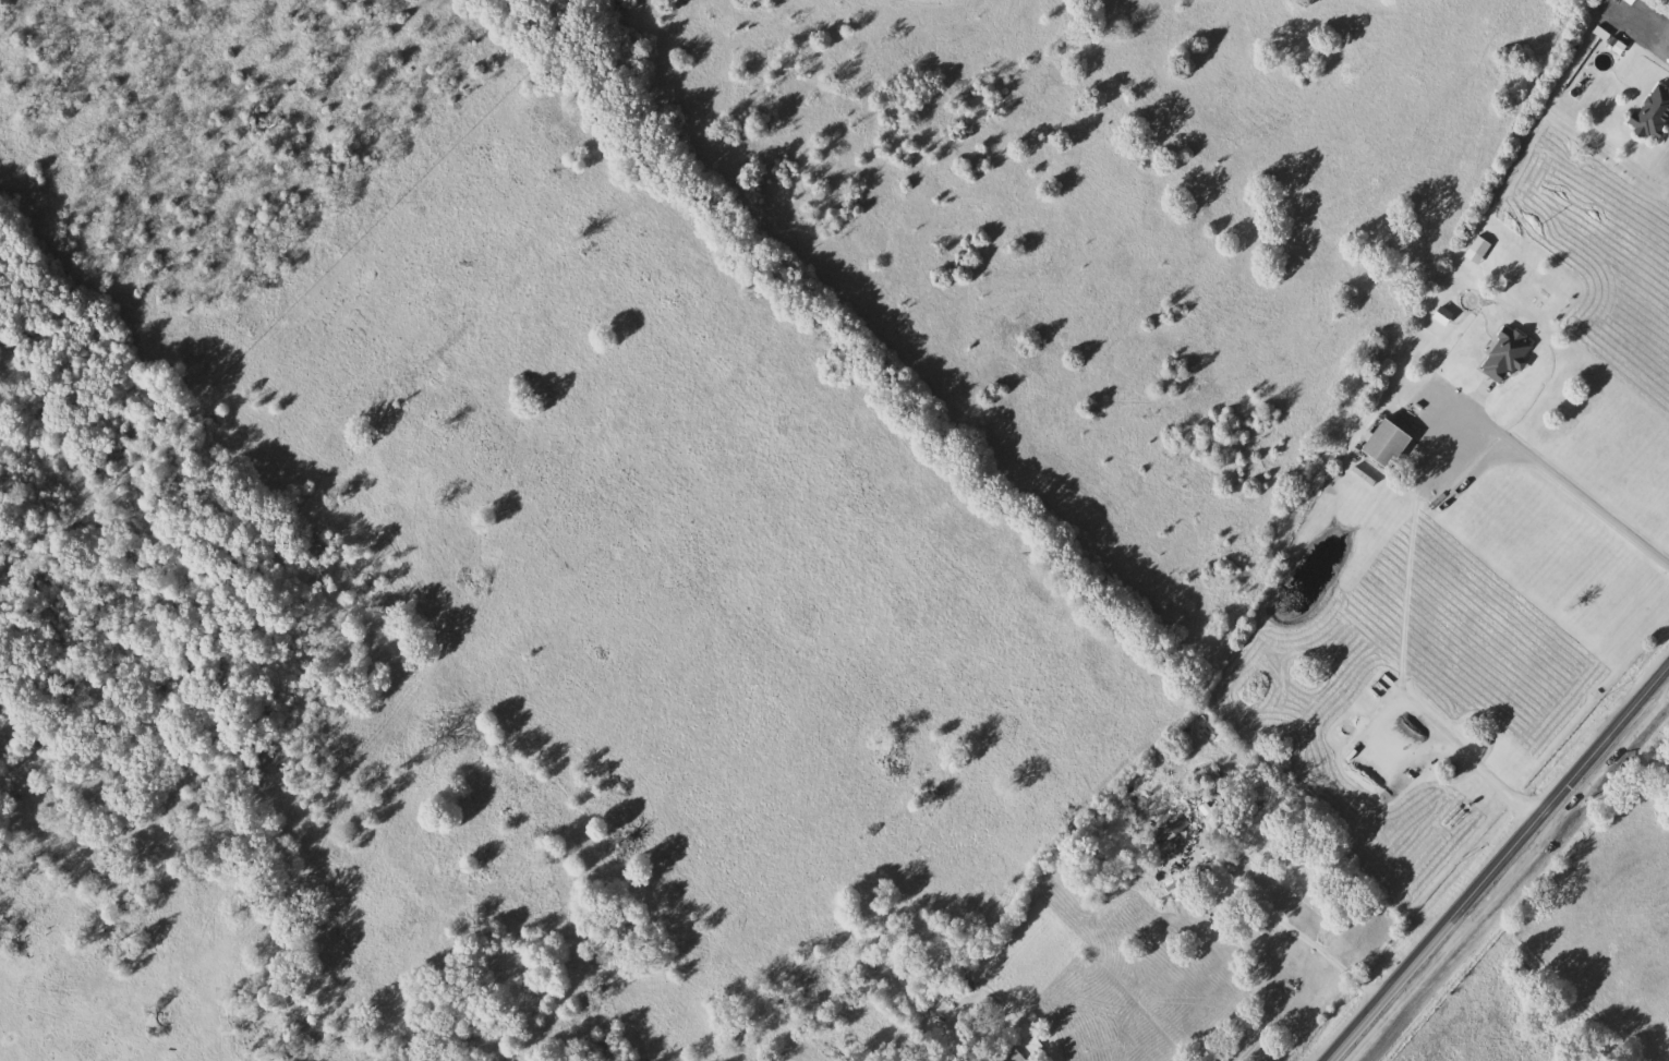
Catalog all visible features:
building: (1655, 111)
building: (1480, 245)
building: (1508, 354)
building: (1390, 443)
road: (1564, 485)
building: (1369, 744)
building: (1170, 831)
road: (1503, 866)
road: (1289, 925)
building: (1013, 1054)

